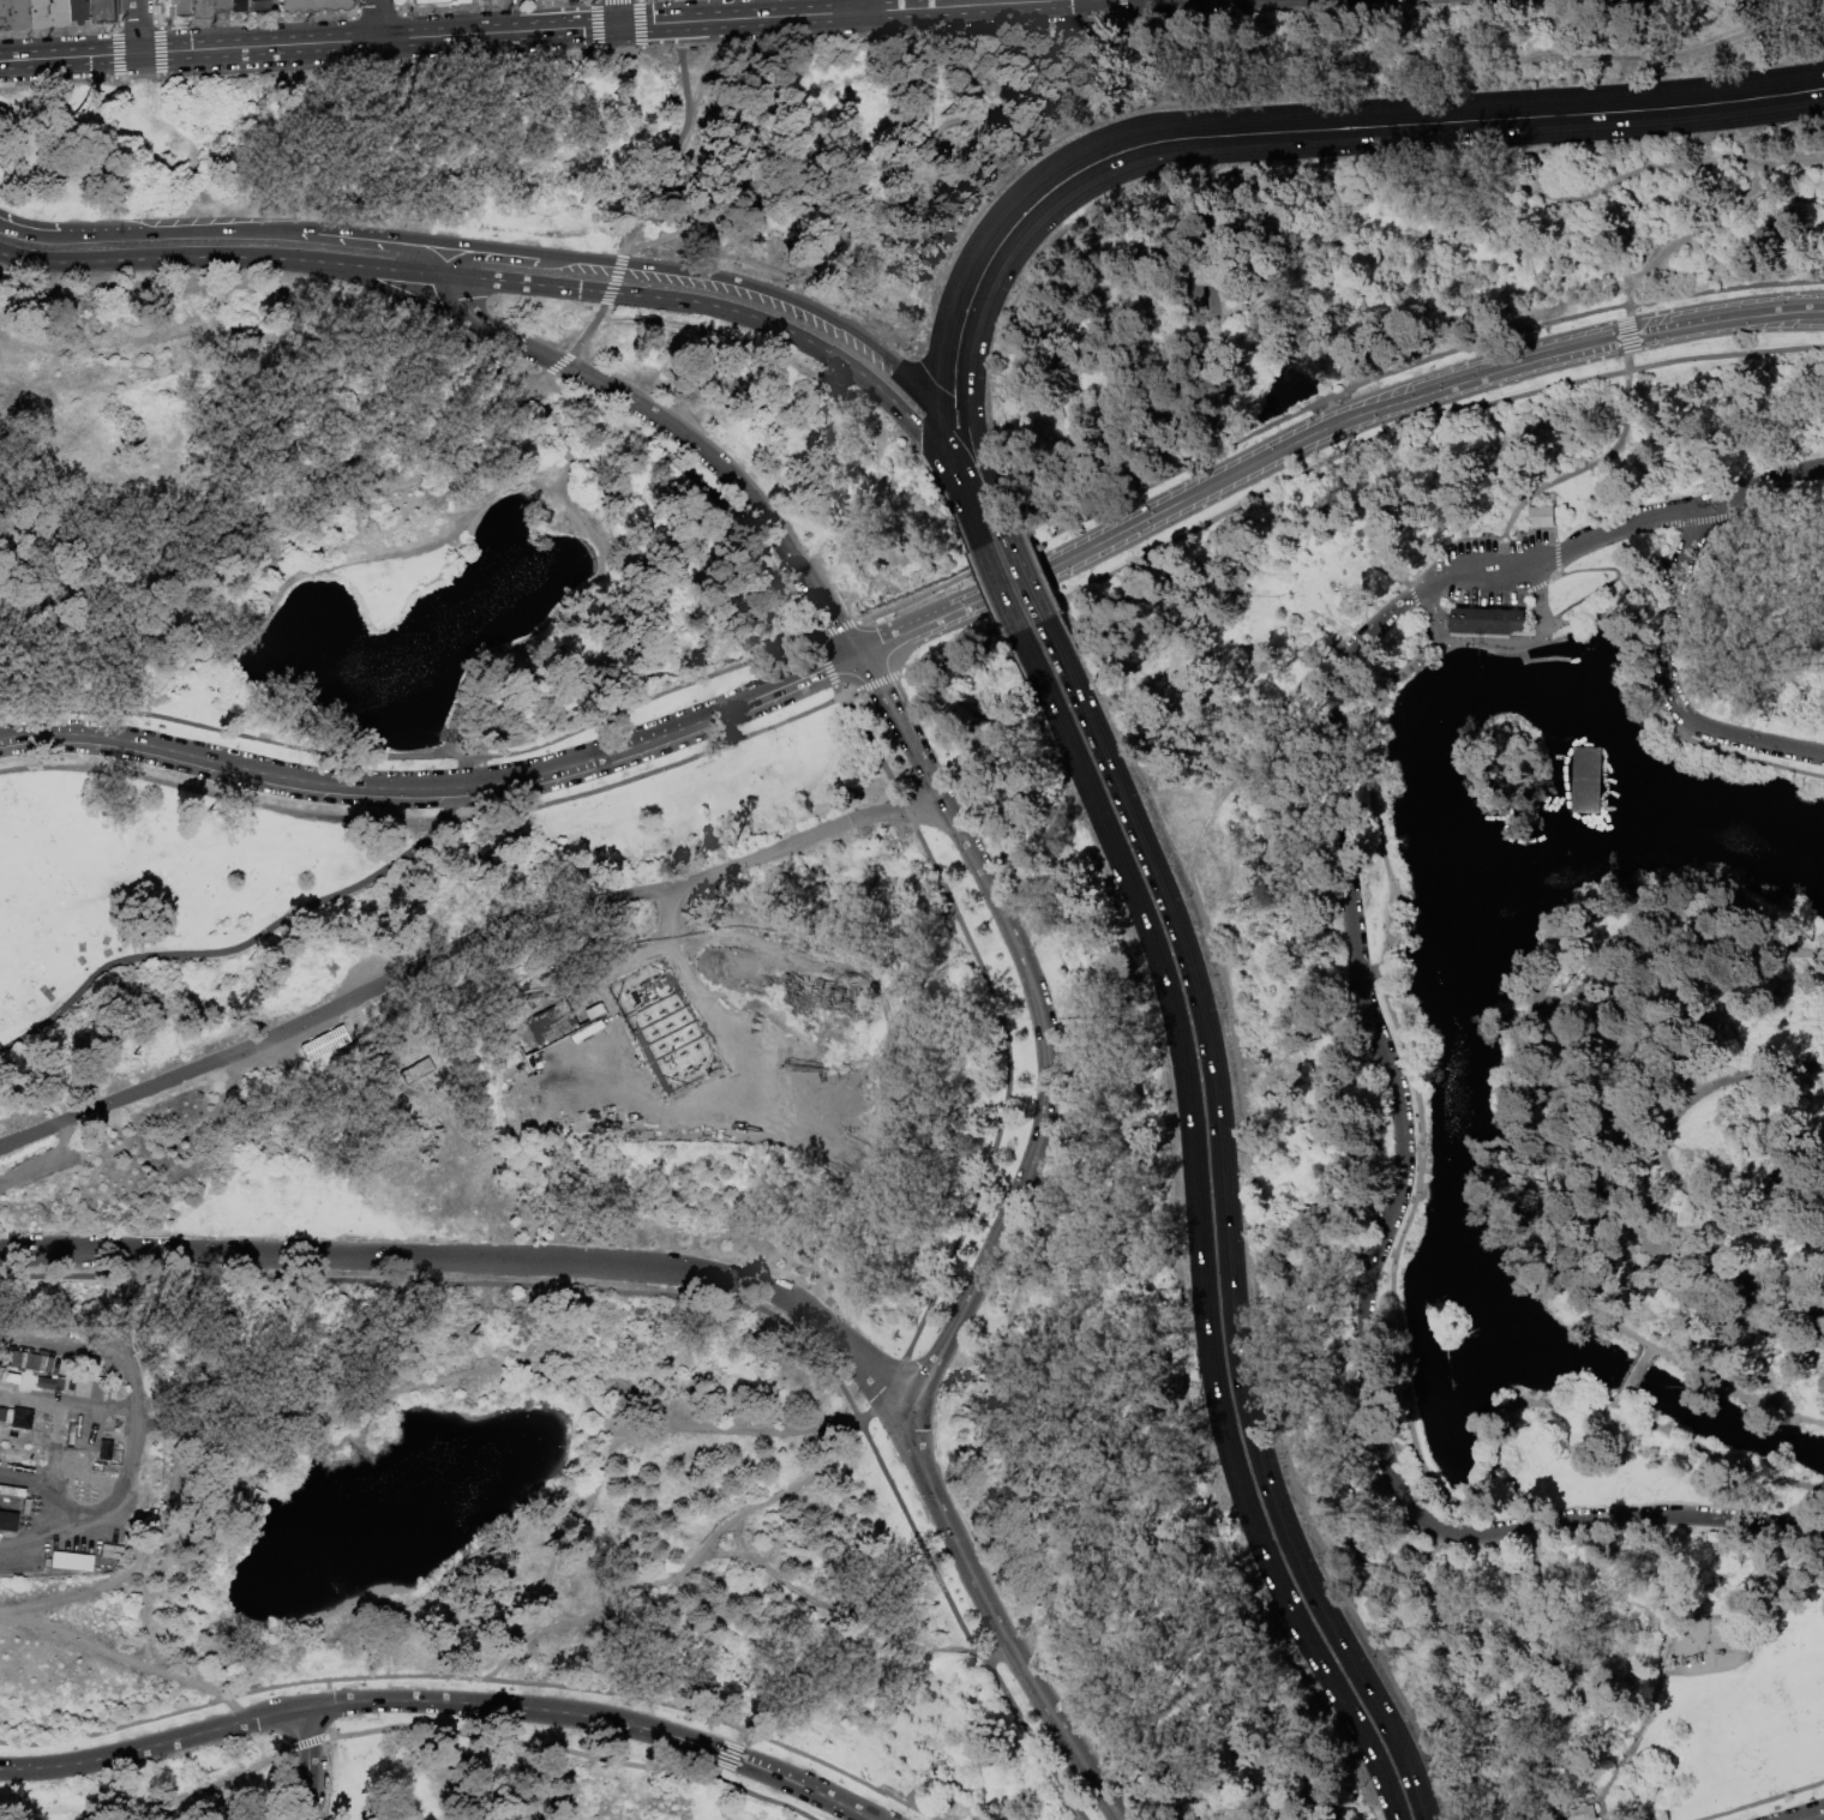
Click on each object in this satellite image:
building: (427, 1)
building: (461, 1)
building: (238, 5)
building: (258, 5)
building: (218, 6)
building: (313, 6)
road: (857, 6)
building: (178, 8)
building: (199, 10)
road: (1820, 10)
road: (868, 11)
building: (76, 12)
building: (98, 12)
road: (617, 12)
building: (36, 13)
building: (56, 13)
building: (17, 14)
building: (4, 16)
road: (377, 19)
traffic signals: (618, 25)
road: (137, 26)
road: (528, 30)
road: (190, 50)
road: (650, 54)
road: (1213, 72)
road: (1356, 114)
road: (1044, 140)
road: (677, 143)
road: (1332, 143)
road: (1632, 175)
road: (1303, 196)
road: (1087, 216)
road: (1266, 217)
road: (1697, 226)
road: (192, 229)
road: (32, 232)
road: (379, 241)
road: (492, 253)
road: (156, 256)
road: (445, 262)
road: (380, 266)
road: (707, 277)
road: (614, 280)
road: (1322, 284)
road: (280, 288)
road: (1266, 310)
road: (1085, 311)
road: (737, 312)
road: (590, 329)
road: (493, 331)
road: (1626, 336)
road: (940, 350)
road: (568, 358)
road: (553, 370)
road: (1381, 373)
road: (902, 377)
traffic signals: (938, 388)
road: (1135, 389)
road: (1430, 421)
road: (1334, 424)
road: (565, 427)
road: (972, 433)
traffic signals: (918, 434)
road: (962, 446)
road: (947, 454)
road: (996, 459)
road: (1111, 467)
road: (1573, 473)
road: (695, 474)
road: (736, 480)
road: (500, 487)
road: (1757, 487)
road: (991, 495)
traffic signals: (998, 512)
building: (1542, 516)
road: (1786, 517)
road: (275, 518)
road: (971, 518)
road: (1704, 519)
road: (1003, 523)
road: (1024, 531)
street lamp: (1513, 535)
road: (1555, 535)
road: (1474, 536)
road: (1508, 542)
road: (1580, 542)
road: (1607, 542)
road: (1030, 545)
parking lot: (1492, 548)
road: (1034, 555)
road: (1555, 555)
road: (1042, 572)
road: (1552, 575)
road: (1027, 577)
road: (1440, 579)
road: (1607, 582)
road: (1536, 587)
road: (1001, 588)
road: (1049, 589)
road: (1412, 593)
road: (1622, 593)
road: (1255, 595)
road: (916, 597)
road: (1524, 600)
road: (1054, 601)
road: (1028, 611)
building: (1484, 621)
road: (809, 626)
road: (835, 629)
road: (1513, 638)
road: (870, 648)
road: (943, 651)
pier: (1499, 654)
building: (1415, 663)
road: (826, 667)
building: (1408, 668)
building: (1400, 674)
road: (870, 685)
road: (1666, 687)
road: (1650, 705)
road: (1084, 709)
road: (1676, 723)
road: (902, 731)
road: (662, 735)
road: (869, 741)
road: (1259, 747)
road: (414, 755)
road: (227, 765)
road: (648, 775)
pier: (1584, 781)
road: (221, 795)
road: (451, 804)
road: (905, 810)
park: (919, 927)
road: (224, 942)
road: (462, 942)
road: (1790, 949)
road: (1061, 979)
road: (1373, 986)
road: (1565, 996)
building: (554, 1023)
building: (322, 1041)
road: (733, 1065)
building: (415, 1068)
road: (1010, 1094)
road: (1662, 1143)
road: (1570, 1152)
road: (1507, 1154)
road: (1194, 1170)
road: (1788, 1172)
road: (1728, 1184)
road: (1260, 1215)
road: (1182, 1227)
road: (1378, 1248)
road: (485, 1257)
road: (1392, 1290)
road: (685, 1297)
road: (1234, 1321)
road: (953, 1323)
road: (139, 1327)
road: (1646, 1350)
building: (25, 1361)
road: (524, 1371)
road: (1631, 1376)
building: (52, 1383)
road: (883, 1389)
road: (130, 1402)
road: (1615, 1404)
building: (18, 1418)
building: (5, 1428)
road: (728, 1429)
building: (107, 1450)
road: (47, 1478)
road: (1512, 1488)
building: (13, 1492)
building: (257, 1494)
road: (779, 1494)
building: (28, 1508)
building: (7, 1520)
road: (90, 1521)
road: (1525, 1525)
road: (37, 1539)
building: (109, 1546)
building: (104, 1552)
road: (726, 1552)
building: (68, 1560)
road: (1004, 1569)
road: (1105, 1578)
road: (1717, 1618)
road: (1446, 1635)
road: (84, 1639)
road: (1554, 1668)
road: (846, 1676)
road: (474, 1678)
road: (197, 1680)
road: (443, 1701)
road: (508, 1742)
road: (727, 1754)
road: (308, 1762)
road: (1621, 1762)
road: (1375, 1765)
road: (282, 1773)
road: (208, 1790)
road: (761, 1796)
road: (1, 1797)
road: (1760, 1800)
road: (40, 1803)
road: (1571, 1803)
road: (1600, 1809)
building: (1579, 1813)
road: (1814, 1816)

